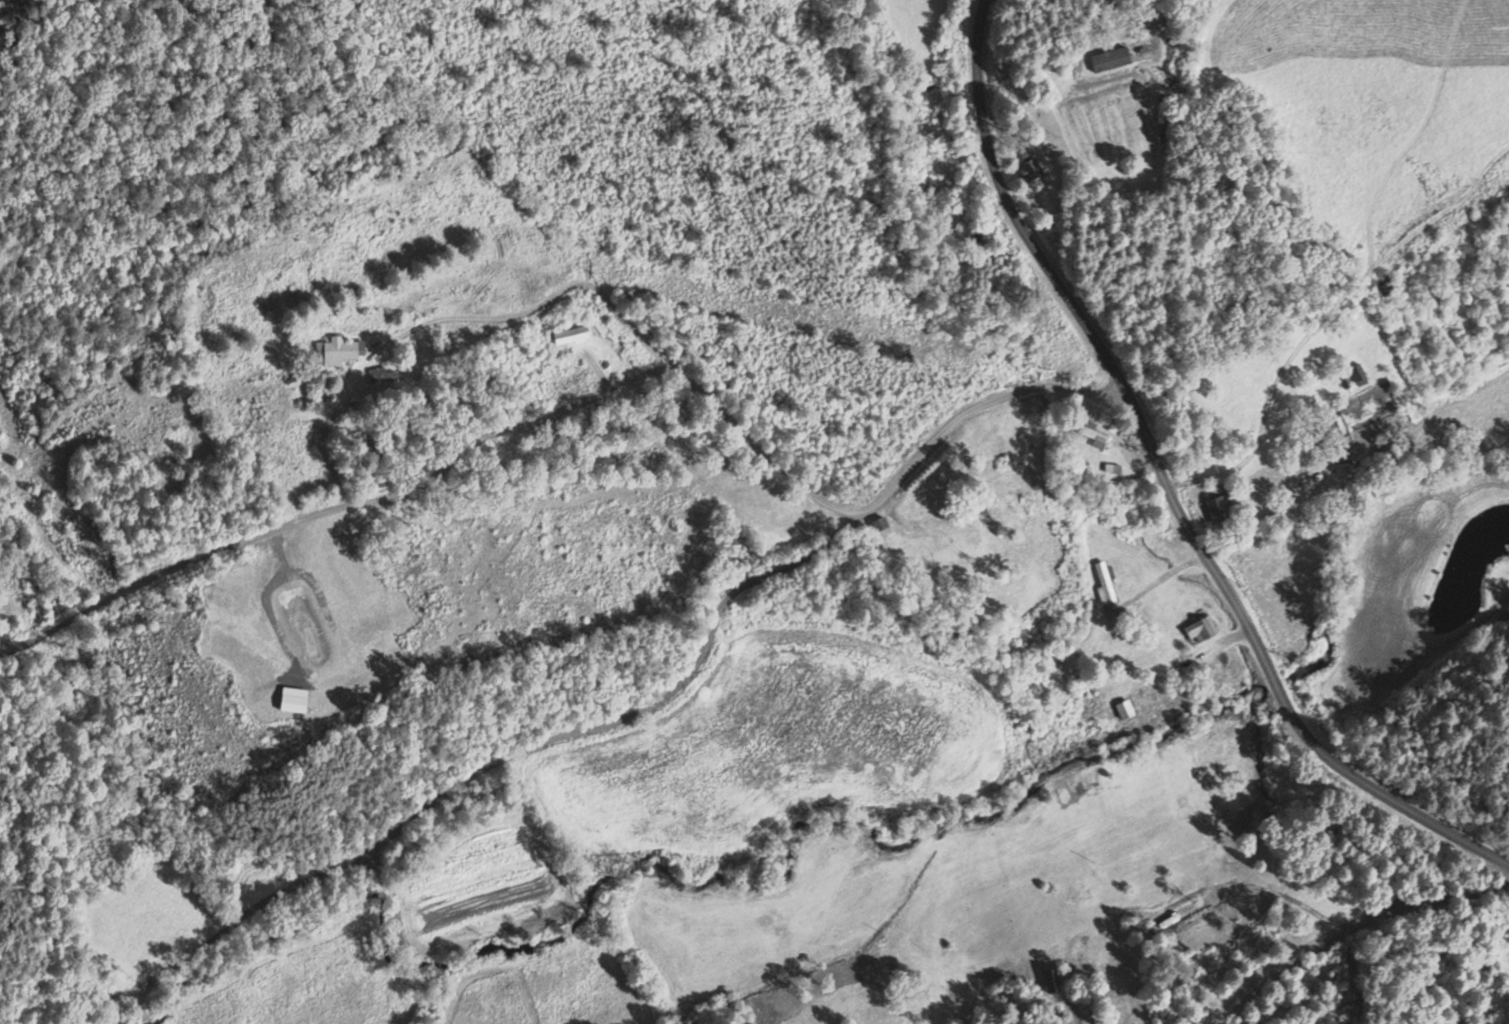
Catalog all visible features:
building: (1109, 60)
building: (1026, 163)
road: (1037, 254)
building: (570, 334)
building: (340, 350)
road: (661, 359)
building: (1357, 374)
building: (382, 375)
building: (1092, 433)
building: (1216, 507)
road: (334, 508)
building: (1104, 582)
road: (1224, 586)
building: (1112, 613)
building: (1199, 629)
road: (656, 699)
building: (1124, 709)
road: (1383, 783)

